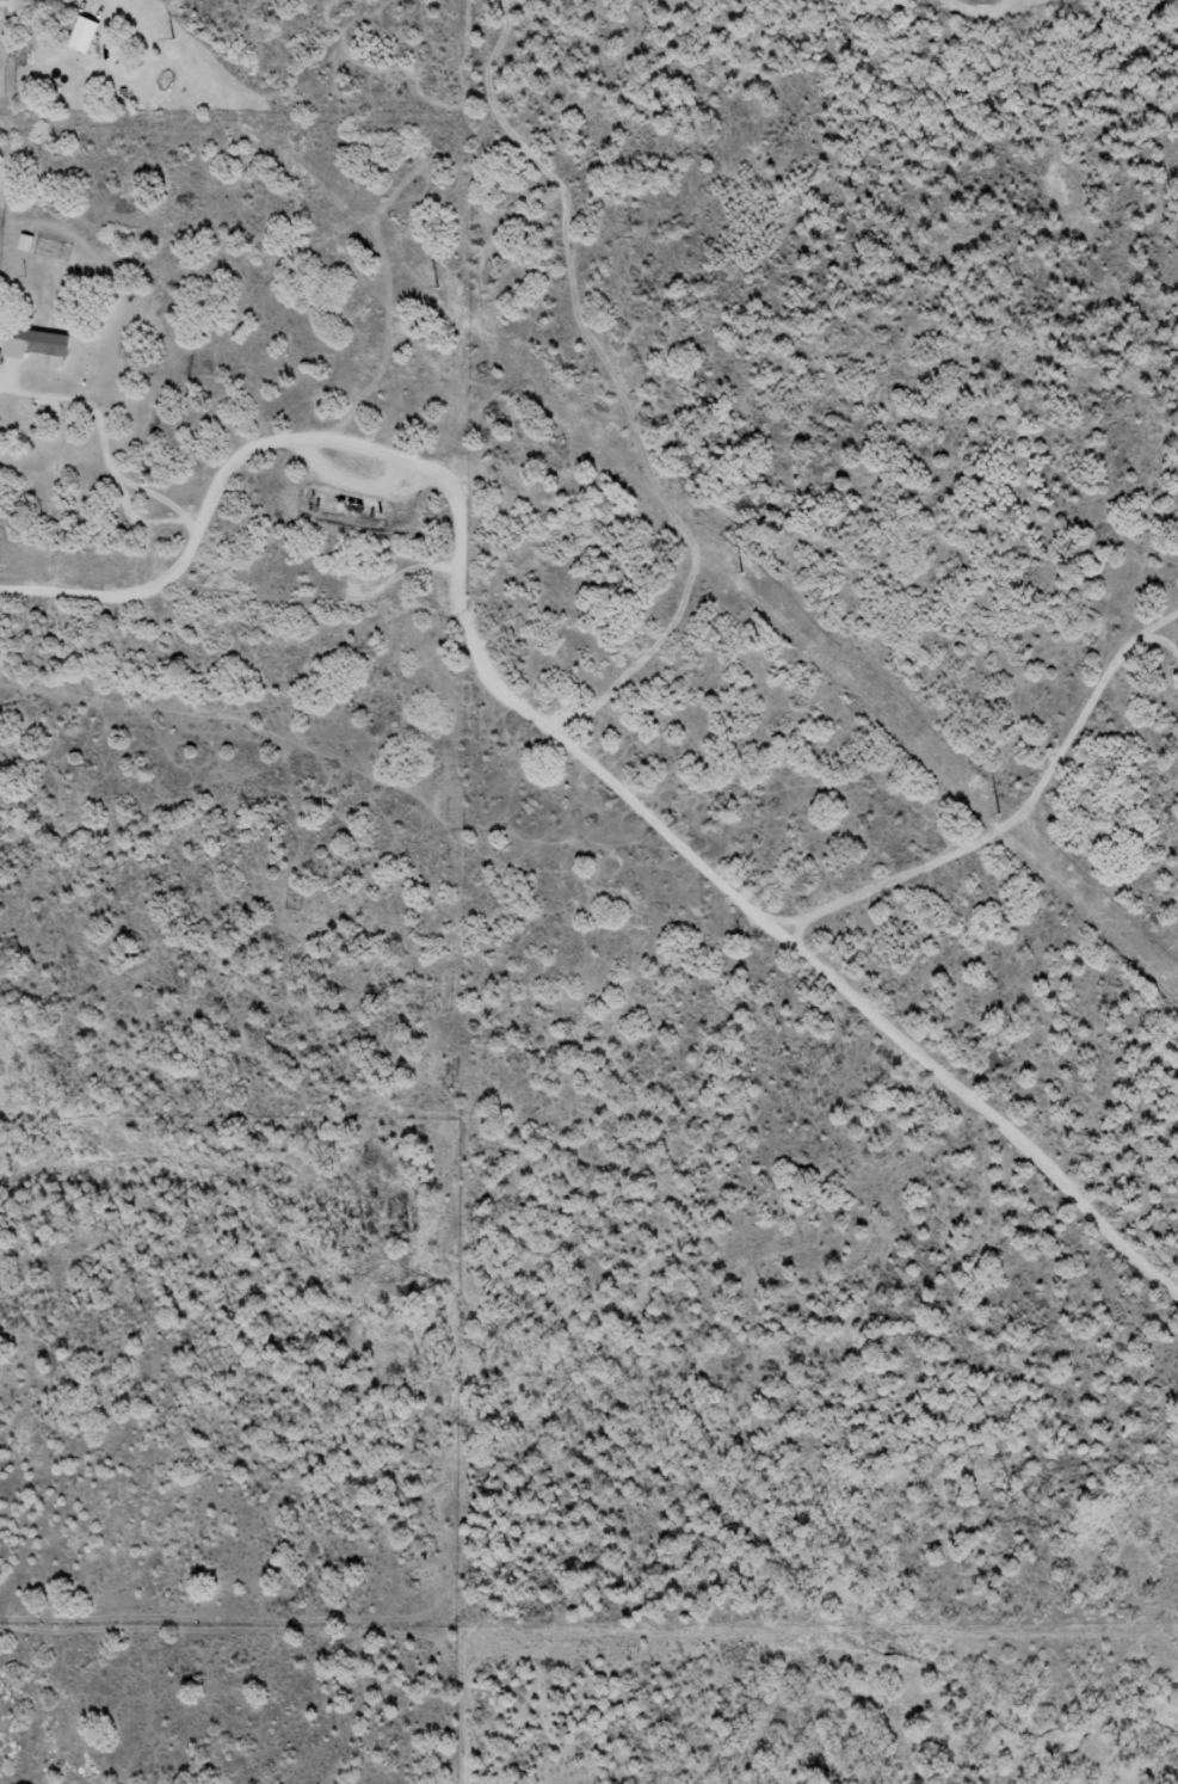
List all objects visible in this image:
building: (85, 33)
building: (27, 241)
building: (53, 343)
building: (17, 347)
road: (568, 730)
road: (109, 1291)

